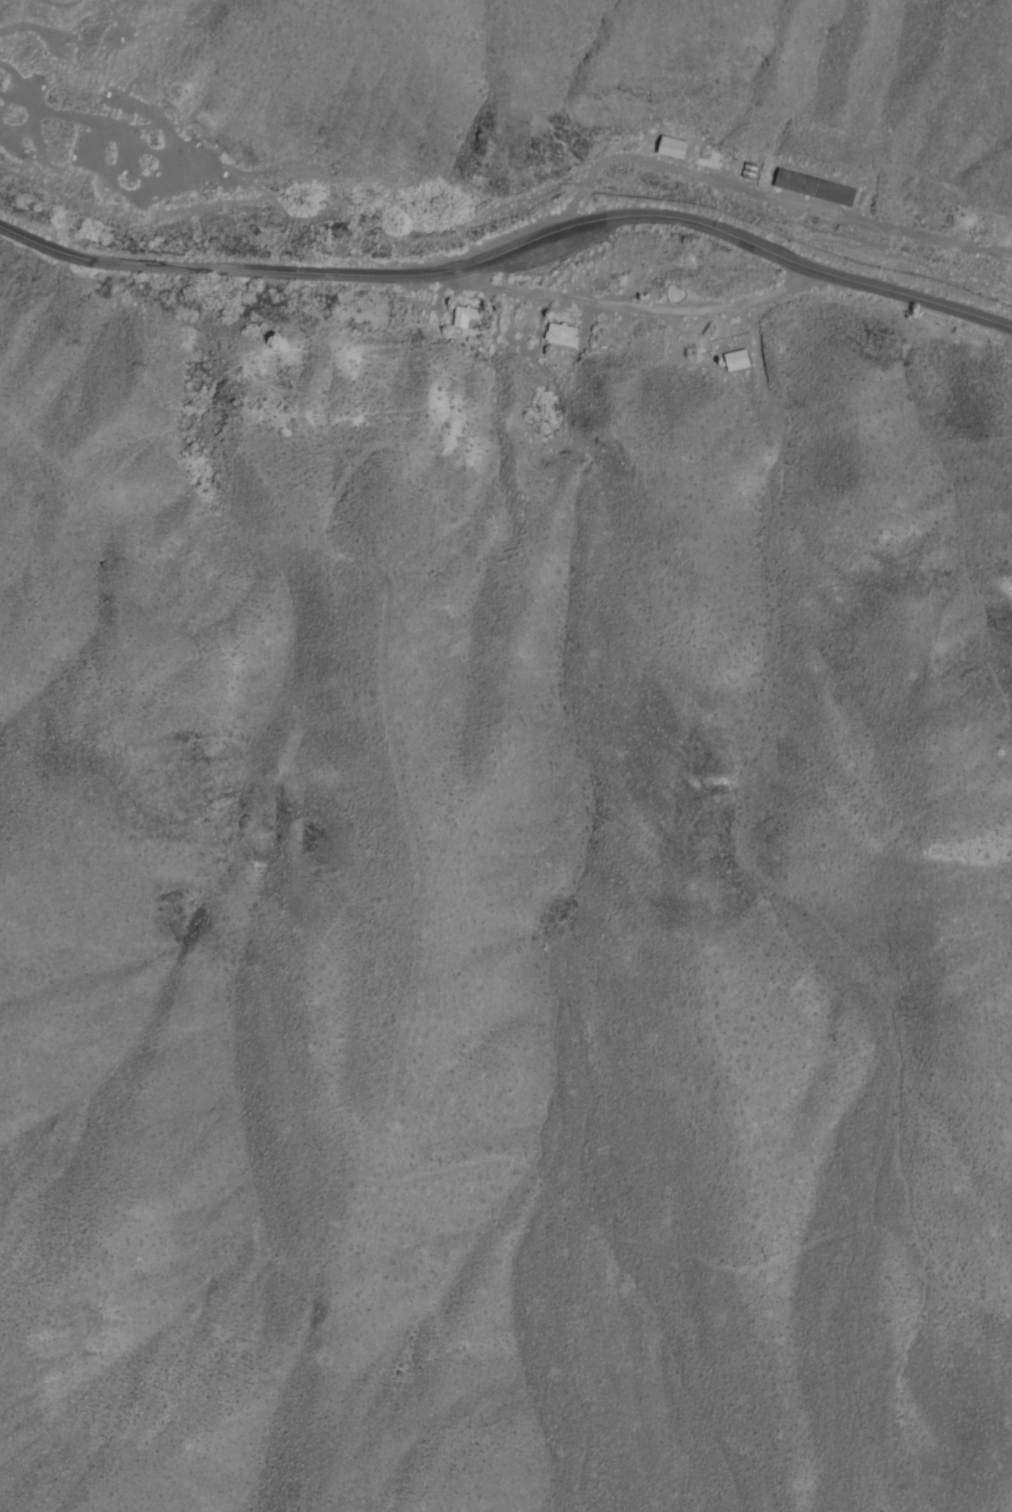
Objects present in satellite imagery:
road: (61, 6)
road: (113, 18)
road: (24, 29)
road: (37, 108)
road: (52, 113)
road: (170, 144)
building: (681, 152)
road: (100, 170)
building: (758, 177)
road: (258, 186)
building: (827, 193)
road: (768, 198)
helipad: (1003, 238)
road: (512, 245)
road: (619, 308)
building: (468, 313)
building: (428, 314)
storage tank: (428, 314)
building: (568, 336)
road: (677, 338)
building: (706, 351)
storage tank: (706, 351)
building: (740, 358)

